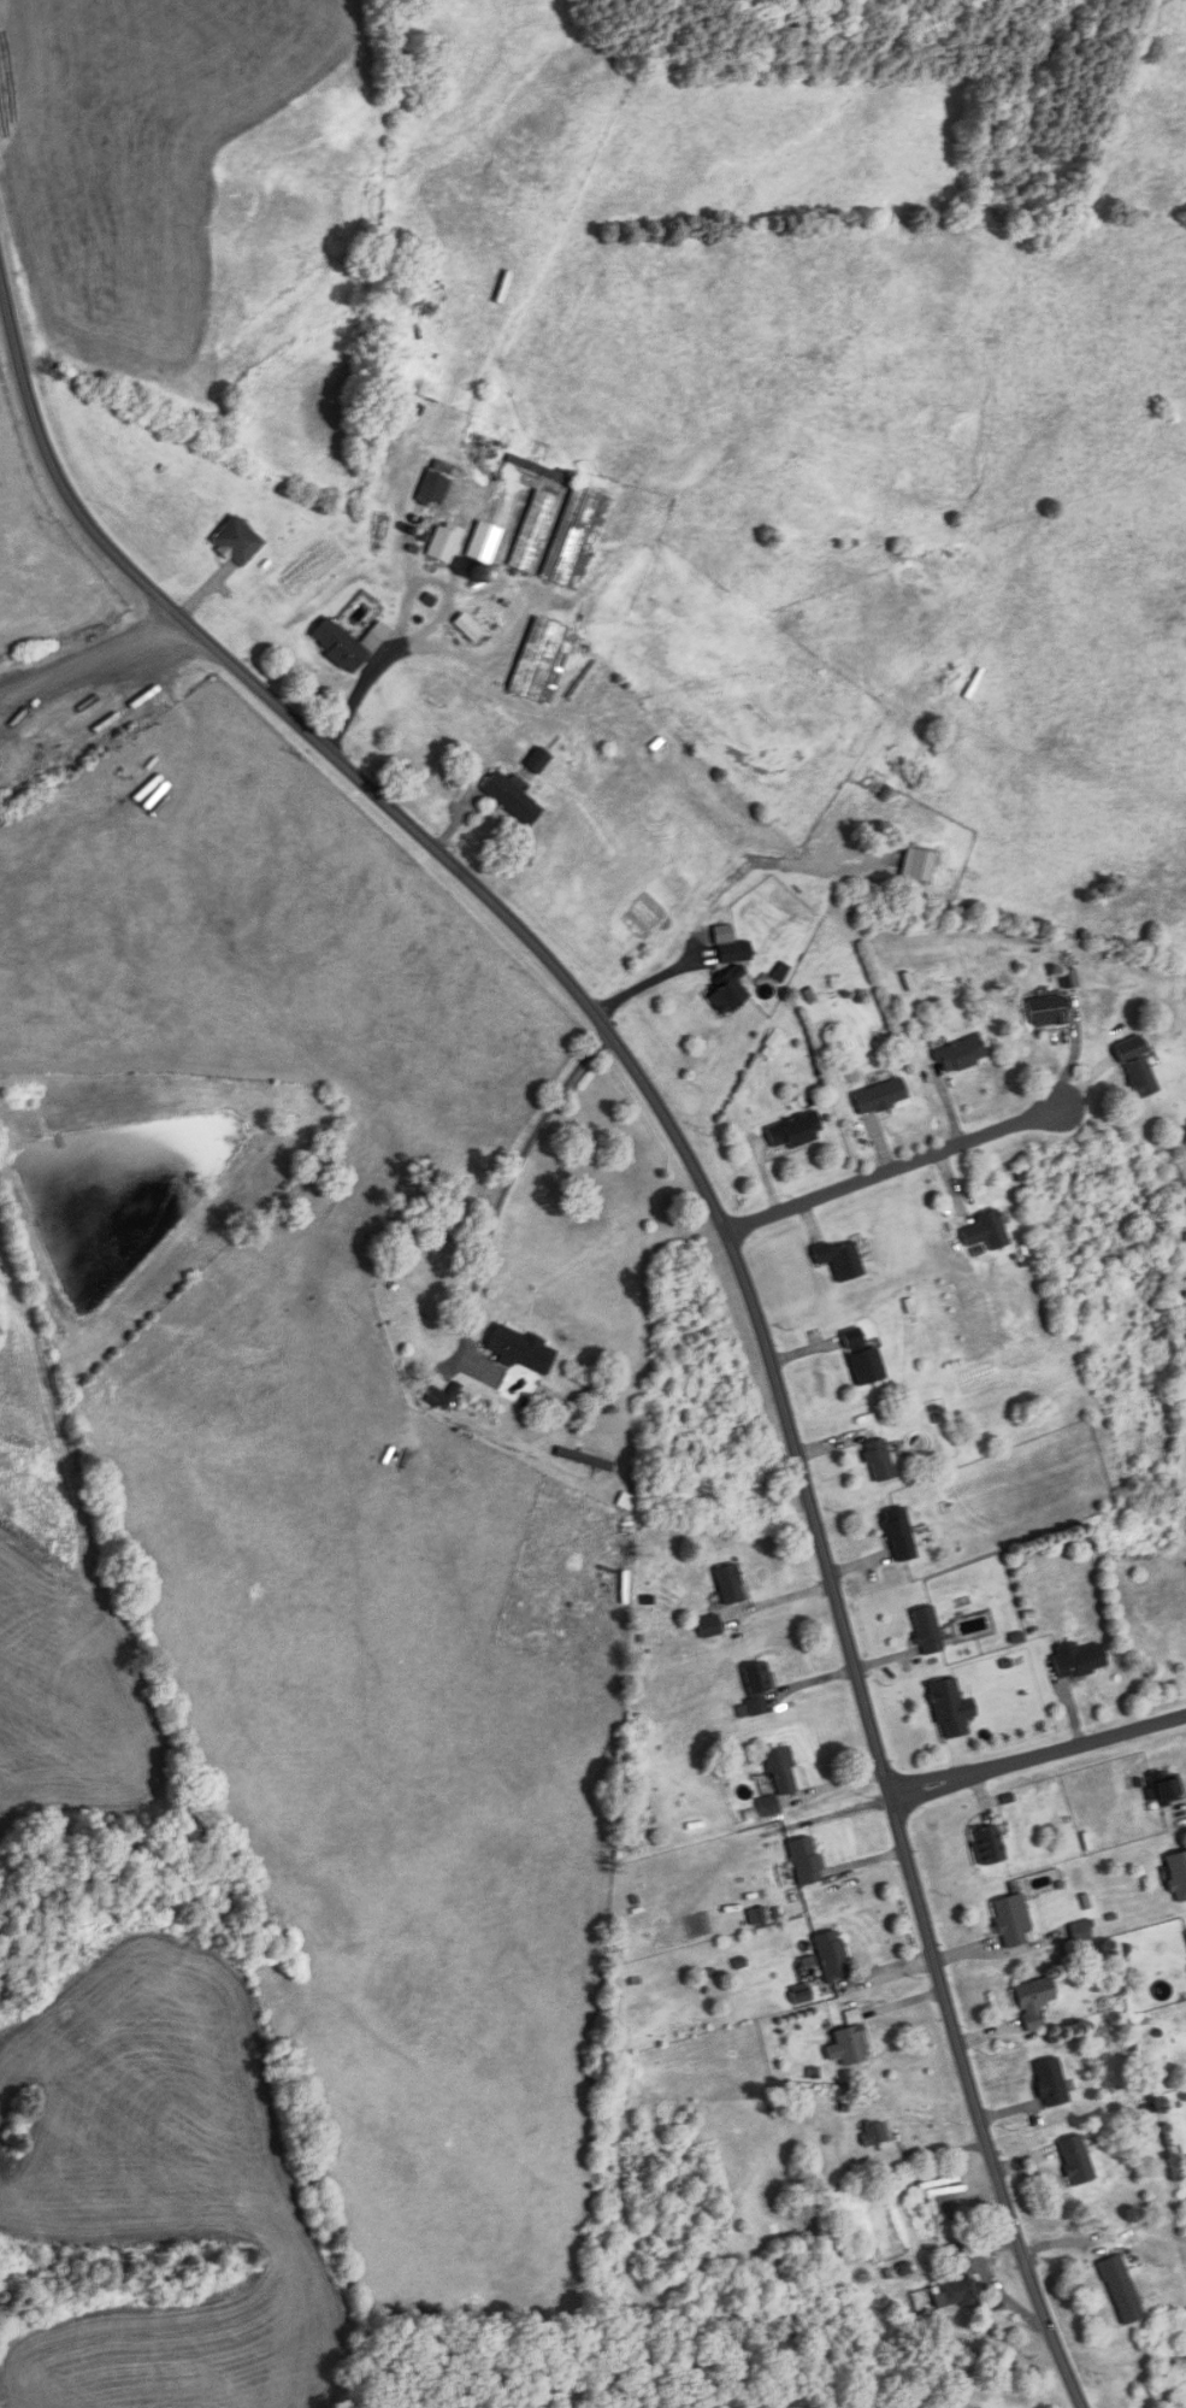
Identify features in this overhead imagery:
building: (435, 484)
building: (532, 531)
building: (574, 537)
building: (241, 542)
building: (341, 646)
road: (388, 653)
road: (89, 655)
building: (539, 661)
building: (509, 799)
building: (724, 944)
road: (641, 987)
building: (725, 991)
building: (1043, 1012)
building: (958, 1055)
building: (1138, 1078)
building: (878, 1097)
building: (792, 1131)
road: (911, 1165)
road: (509, 1178)
road: (722, 1229)
building: (984, 1232)
building: (837, 1260)
building: (519, 1349)
building: (861, 1359)
building: (442, 1396)
building: (877, 1461)
building: (897, 1536)
building: (727, 1585)
building: (707, 1626)
building: (926, 1631)
building: (1075, 1660)
building: (755, 1686)
building: (949, 1709)
road: (1039, 1756)
building: (780, 1770)
building: (1166, 1789)
building: (765, 1806)
building: (986, 1844)
building: (803, 1859)
building: (1176, 1873)
building: (1007, 1921)
building: (1079, 1931)
building: (830, 1954)
building: (1032, 2002)
building: (849, 2044)
building: (1049, 2080)
building: (872, 2133)
building: (1074, 2159)
building: (1120, 2289)
building: (954, 2291)

